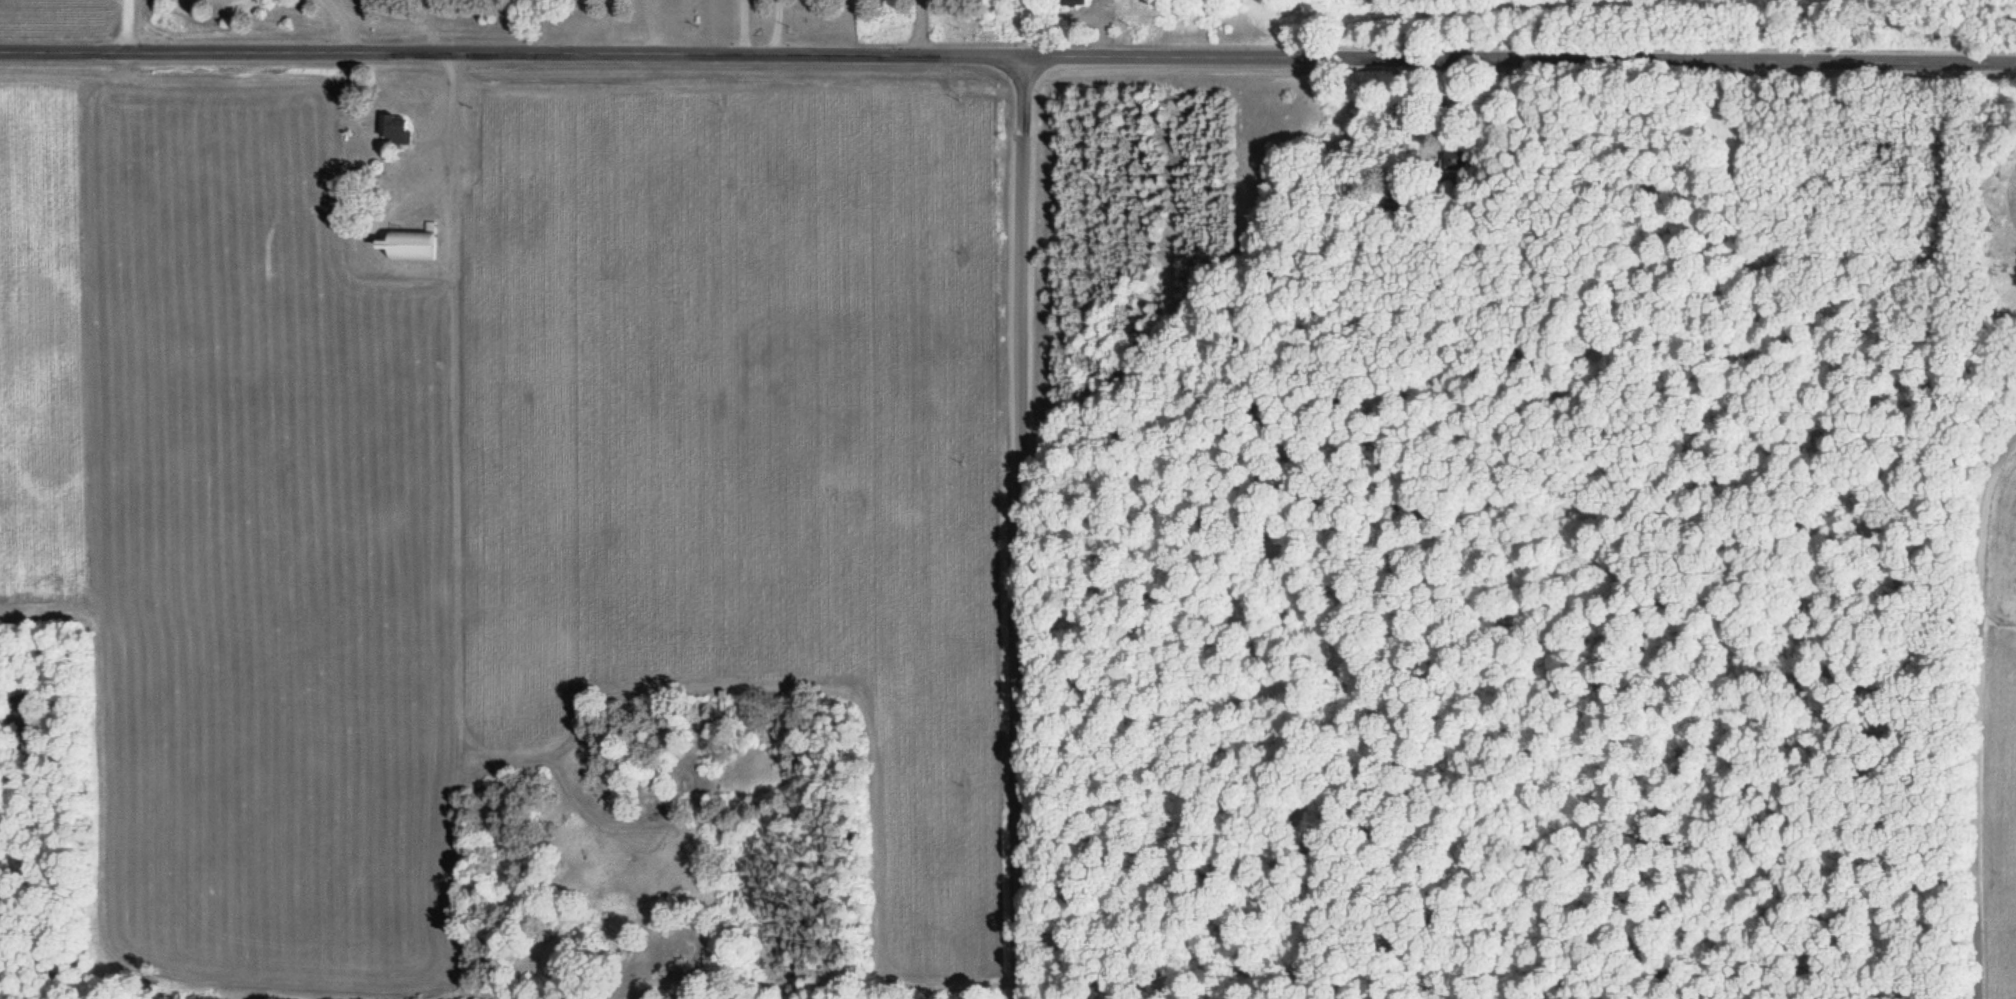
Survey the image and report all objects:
building: (1070, 3)
road: (772, 28)
road: (126, 29)
road: (1008, 56)
building: (397, 129)
building: (409, 245)
road: (1020, 527)

